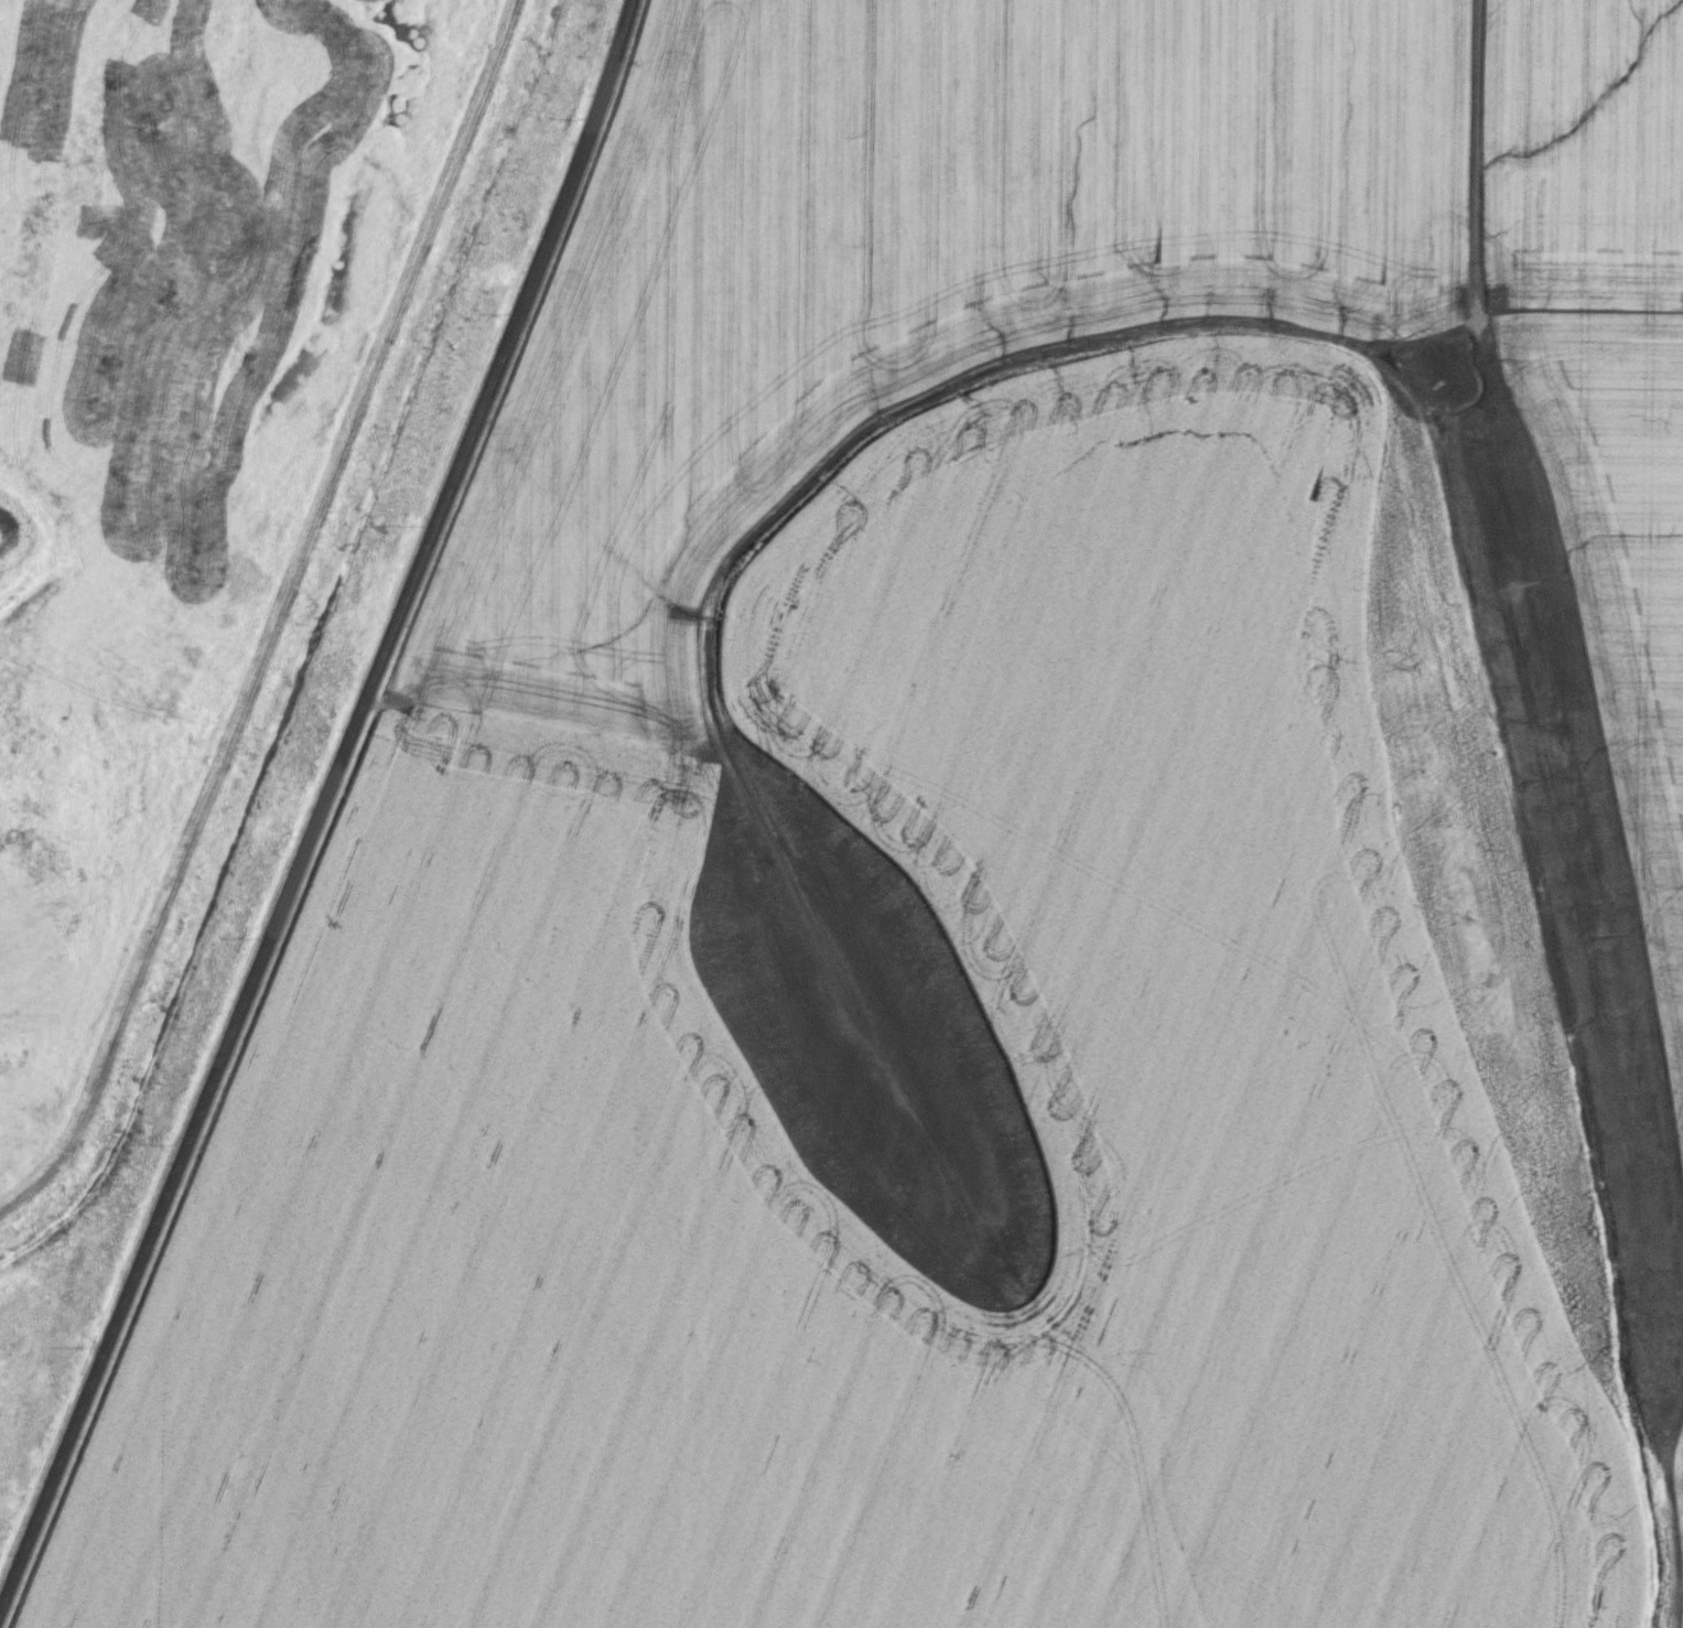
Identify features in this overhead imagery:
road: (319, 799)

